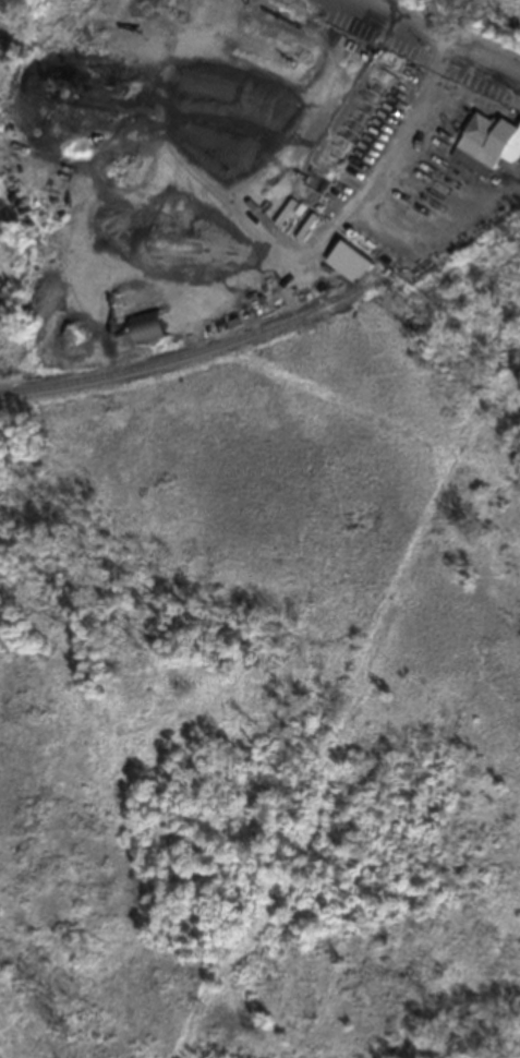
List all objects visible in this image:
road: (445, 33)
building: (486, 153)
building: (144, 336)
railway: (196, 358)

